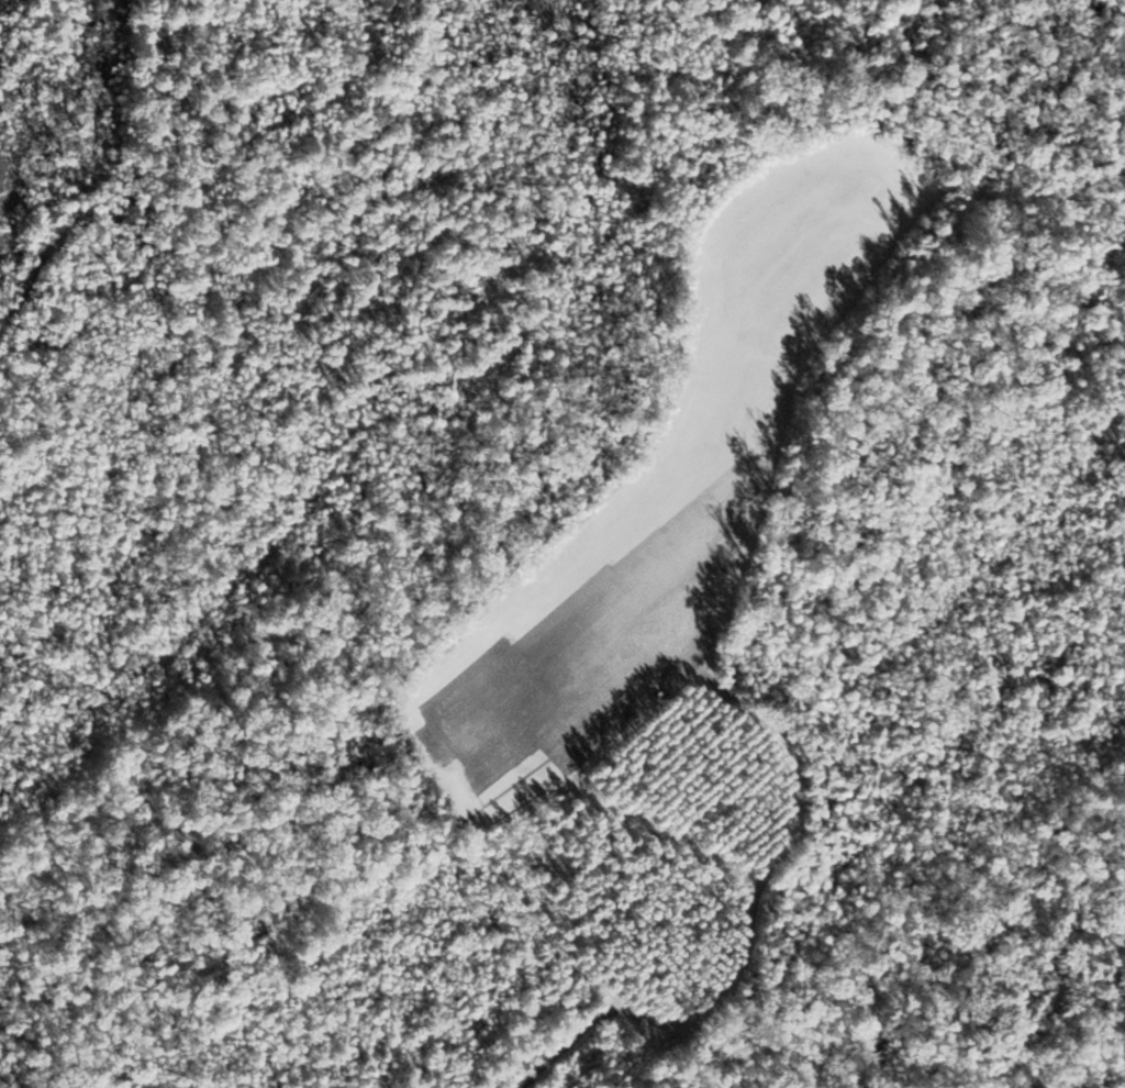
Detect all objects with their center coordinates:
river: (1102, 12)

